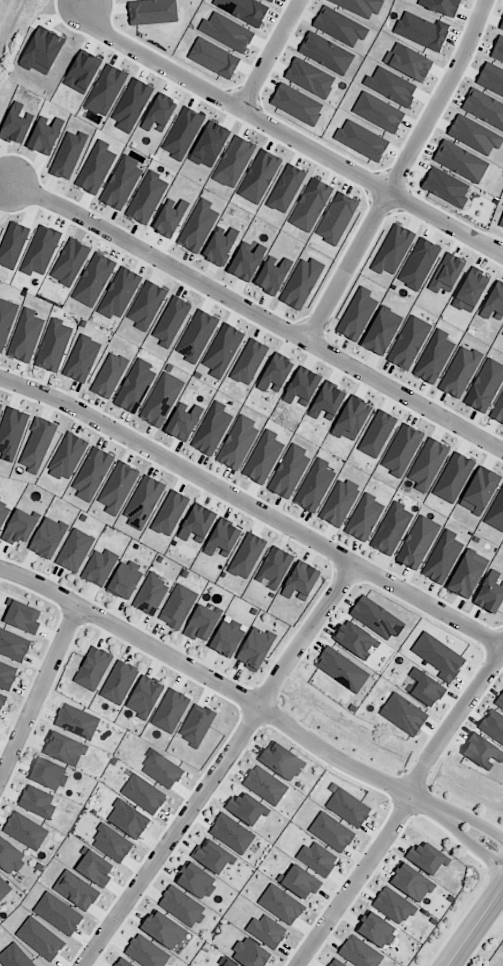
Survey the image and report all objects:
building: (270, 0)
building: (359, 6)
building: (440, 6)
building: (243, 10)
building: (339, 27)
road: (23, 49)
building: (497, 50)
road: (272, 54)
building: (334, 61)
building: (491, 79)
building: (104, 90)
building: (484, 108)
building: (16, 124)
building: (474, 135)
building: (45, 136)
road: (292, 136)
building: (68, 155)
building: (460, 162)
building: (95, 168)
road: (400, 171)
building: (121, 183)
building: (146, 198)
building: (169, 218)
building: (197, 226)
building: (12, 245)
building: (220, 245)
building: (40, 251)
building: (246, 261)
building: (69, 263)
building: (272, 275)
building: (93, 280)
building: (301, 284)
building: (118, 293)
building: (146, 306)
road: (259, 312)
building: (356, 315)
building: (6, 320)
building: (170, 322)
building: (381, 331)
building: (196, 336)
building: (28, 339)
building: (409, 343)
building: (55, 349)
building: (222, 350)
building: (433, 357)
building: (81, 359)
building: (248, 362)
building: (459, 372)
building: (275, 374)
building: (109, 375)
building: (485, 385)
building: (134, 386)
building: (302, 387)
building: (160, 399)
building: (327, 401)
building: (0, 406)
building: (498, 410)
building: (351, 418)
building: (183, 422)
building: (212, 429)
building: (12, 430)
building: (377, 434)
building: (237, 443)
building: (36, 445)
building: (401, 450)
building: (67, 457)
building: (263, 458)
building: (427, 464)
building: (288, 472)
building: (91, 474)
building: (453, 478)
building: (314, 486)
building: (117, 488)
building: (479, 491)
building: (0, 497)
building: (143, 502)
building: (343, 505)
road: (253, 508)
building: (496, 512)
building: (169, 513)
building: (4, 517)
building: (366, 520)
building: (196, 524)
building: (391, 529)
building: (24, 530)
building: (52, 541)
building: (226, 541)
building: (417, 543)
building: (78, 553)
building: (441, 557)
building: (250, 559)
building: (102, 570)
building: (276, 571)
building: (467, 574)
building: (129, 581)
building: (300, 582)
building: (154, 594)
building: (492, 596)
building: (179, 609)
building: (21, 612)
building: (376, 619)
building: (205, 626)
building: (355, 640)
building: (233, 642)
building: (13, 646)
building: (261, 652)
building: (438, 657)
building: (96, 672)
building: (345, 672)
building: (7, 675)
road: (220, 682)
building: (122, 684)
building: (425, 688)
road: (39, 693)
building: (2, 696)
building: (147, 699)
building: (501, 706)
building: (173, 714)
building: (403, 715)
building: (75, 719)
building: (494, 727)
building: (199, 728)
building: (61, 746)
building: (482, 753)
building: (285, 764)
road: (219, 765)
building: (164, 772)
building: (51, 777)
building: (269, 789)
building: (146, 798)
building: (41, 805)
road: (401, 810)
building: (351, 811)
building: (249, 813)
building: (128, 819)
road: (470, 819)
building: (30, 835)
building: (334, 835)
building: (235, 836)
road: (467, 839)
building: (115, 847)
building: (215, 860)
building: (11, 861)
building: (319, 862)
building: (430, 863)
building: (94, 868)
building: (196, 880)
building: (414, 886)
building: (304, 887)
building: (75, 890)
building: (5, 893)
building: (280, 905)
building: (180, 906)
building: (396, 909)
building: (57, 914)
road: (460, 925)
road: (474, 925)
building: (163, 930)
building: (266, 931)
building: (380, 934)
building: (39, 939)
road: (486, 942)
building: (145, 952)
building: (359, 953)
building: (250, 954)
building: (16, 958)
building: (122, 963)
building: (227, 963)
building: (335, 964)

